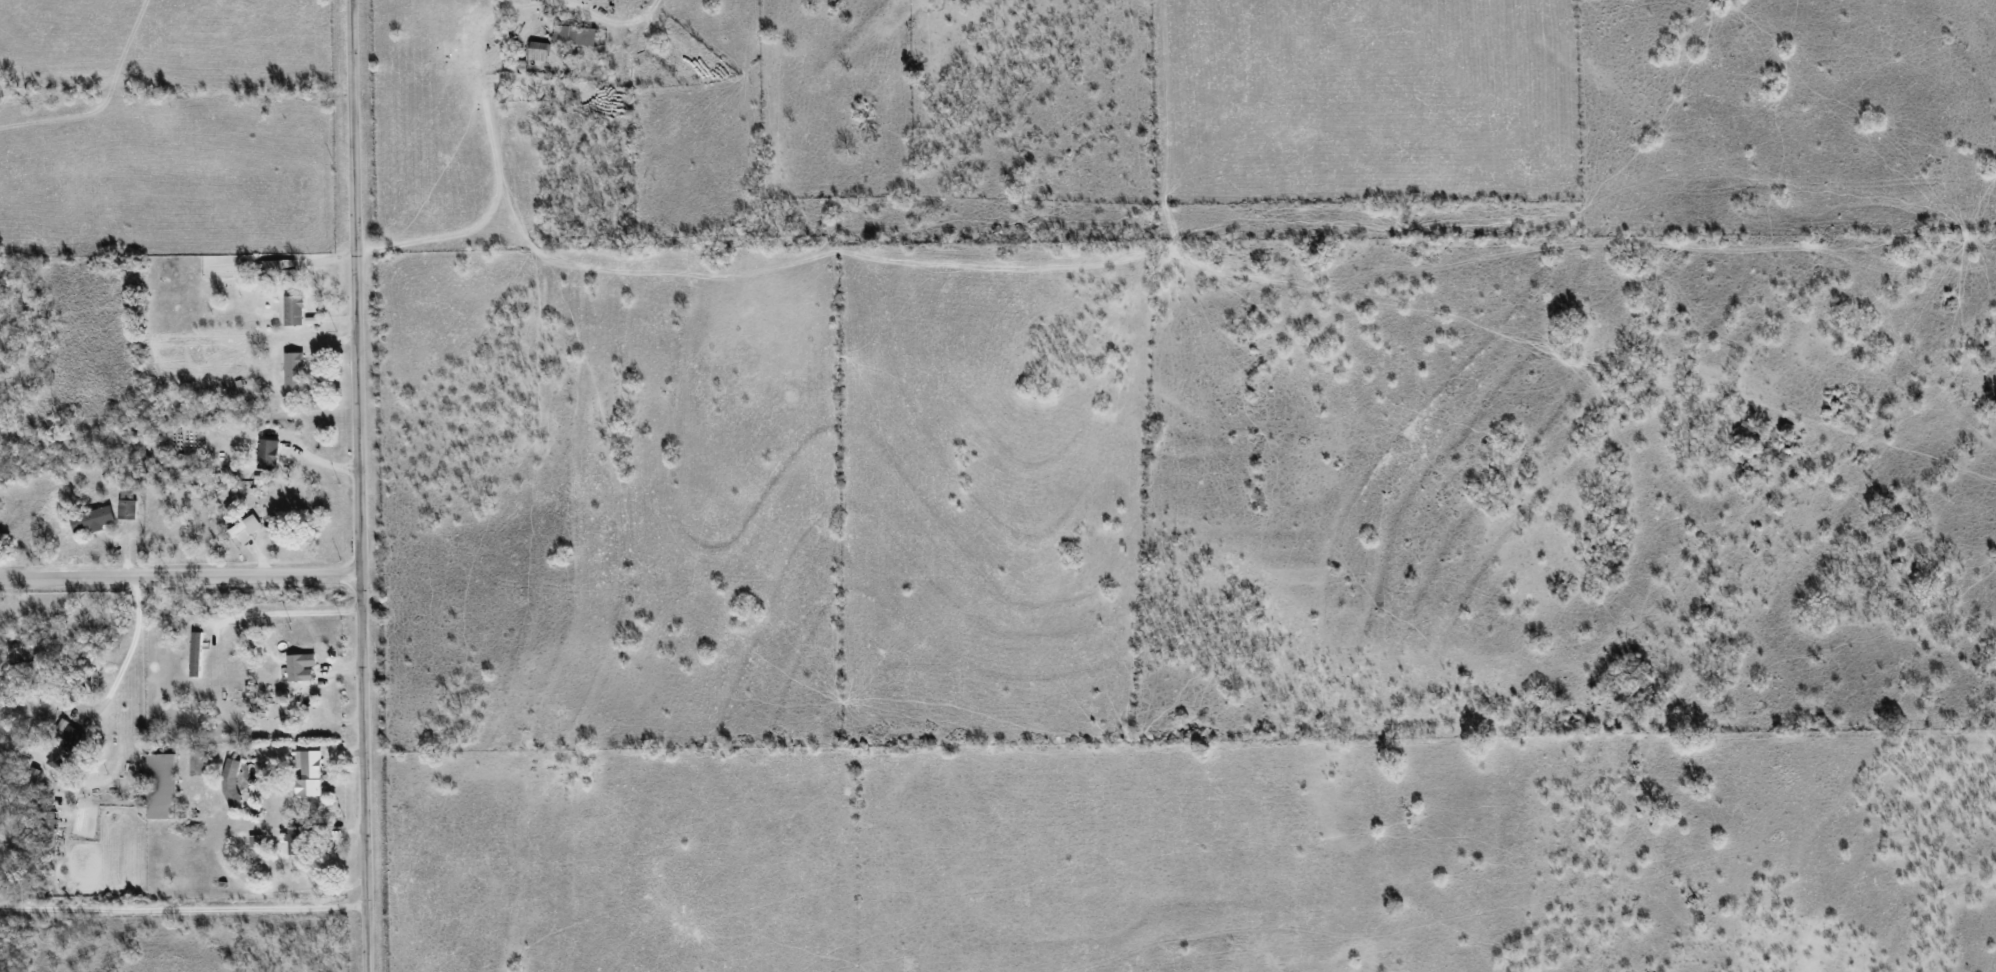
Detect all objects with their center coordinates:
building: (578, 35)
building: (541, 51)
road: (485, 120)
building: (279, 270)
building: (296, 310)
building: (296, 369)
building: (271, 453)
road: (360, 486)
building: (128, 505)
building: (93, 520)
building: (246, 528)
road: (181, 578)
road: (290, 613)
building: (198, 654)
road: (126, 656)
building: (302, 666)
building: (78, 691)
building: (252, 692)
building: (284, 696)
building: (66, 745)
building: (310, 772)
building: (162, 785)
building: (51, 823)
building: (256, 841)
building: (300, 841)
road: (184, 903)

